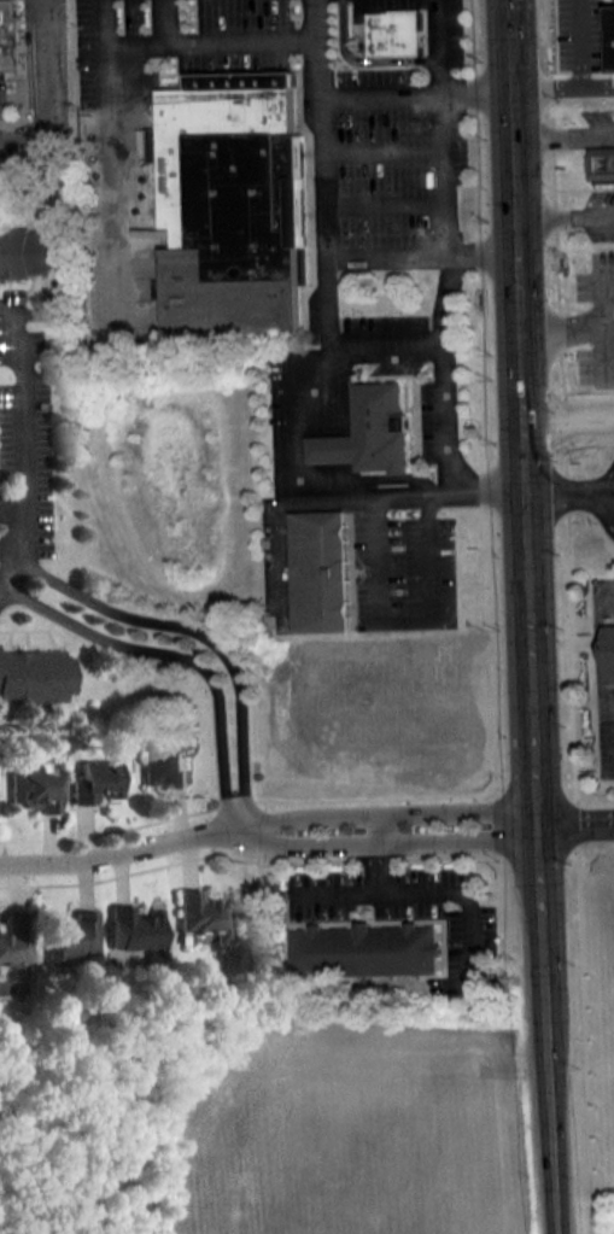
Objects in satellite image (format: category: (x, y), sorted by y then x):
road: (166, 23)
building: (11, 30)
building: (397, 31)
building: (612, 35)
road: (189, 45)
street lamp: (451, 66)
road: (581, 77)
parking lot: (31, 81)
street lamp: (567, 81)
road: (34, 82)
road: (598, 84)
road: (415, 95)
parking lot: (311, 105)
parking lot: (597, 116)
street lamp: (572, 119)
street lamp: (427, 122)
street lamp: (345, 124)
road: (439, 127)
road: (563, 135)
road: (607, 135)
road: (380, 148)
building: (601, 162)
road: (322, 174)
building: (233, 204)
road: (384, 205)
parking lot: (598, 214)
road: (565, 216)
street lamp: (429, 228)
street lamp: (341, 230)
building: (30, 251)
road: (421, 253)
parking lot: (596, 317)
road: (561, 326)
road: (602, 333)
road: (387, 347)
parking lot: (394, 358)
road: (446, 370)
road: (296, 411)
road: (568, 420)
parking lot: (280, 423)
building: (381, 426)
road: (22, 433)
parking lot: (24, 435)
road: (489, 440)
building: (331, 446)
road: (332, 466)
road: (606, 486)
road: (561, 492)
road: (598, 492)
road: (334, 496)
road: (606, 496)
building: (320, 569)
parking lot: (404, 573)
road: (6, 575)
parking lot: (6, 597)
road: (603, 604)
road: (528, 616)
road: (405, 619)
road: (571, 633)
building: (609, 651)
road: (598, 659)
building: (34, 674)
parking lot: (603, 730)
building: (163, 766)
building: (94, 780)
building: (31, 788)
road: (239, 807)
road: (384, 812)
road: (602, 819)
road: (563, 823)
road: (602, 826)
road: (385, 841)
road: (118, 850)
road: (379, 853)
road: (376, 894)
parking lot: (394, 901)
building: (201, 913)
building: (133, 929)
building: (66, 935)
building: (13, 937)
building: (366, 948)

